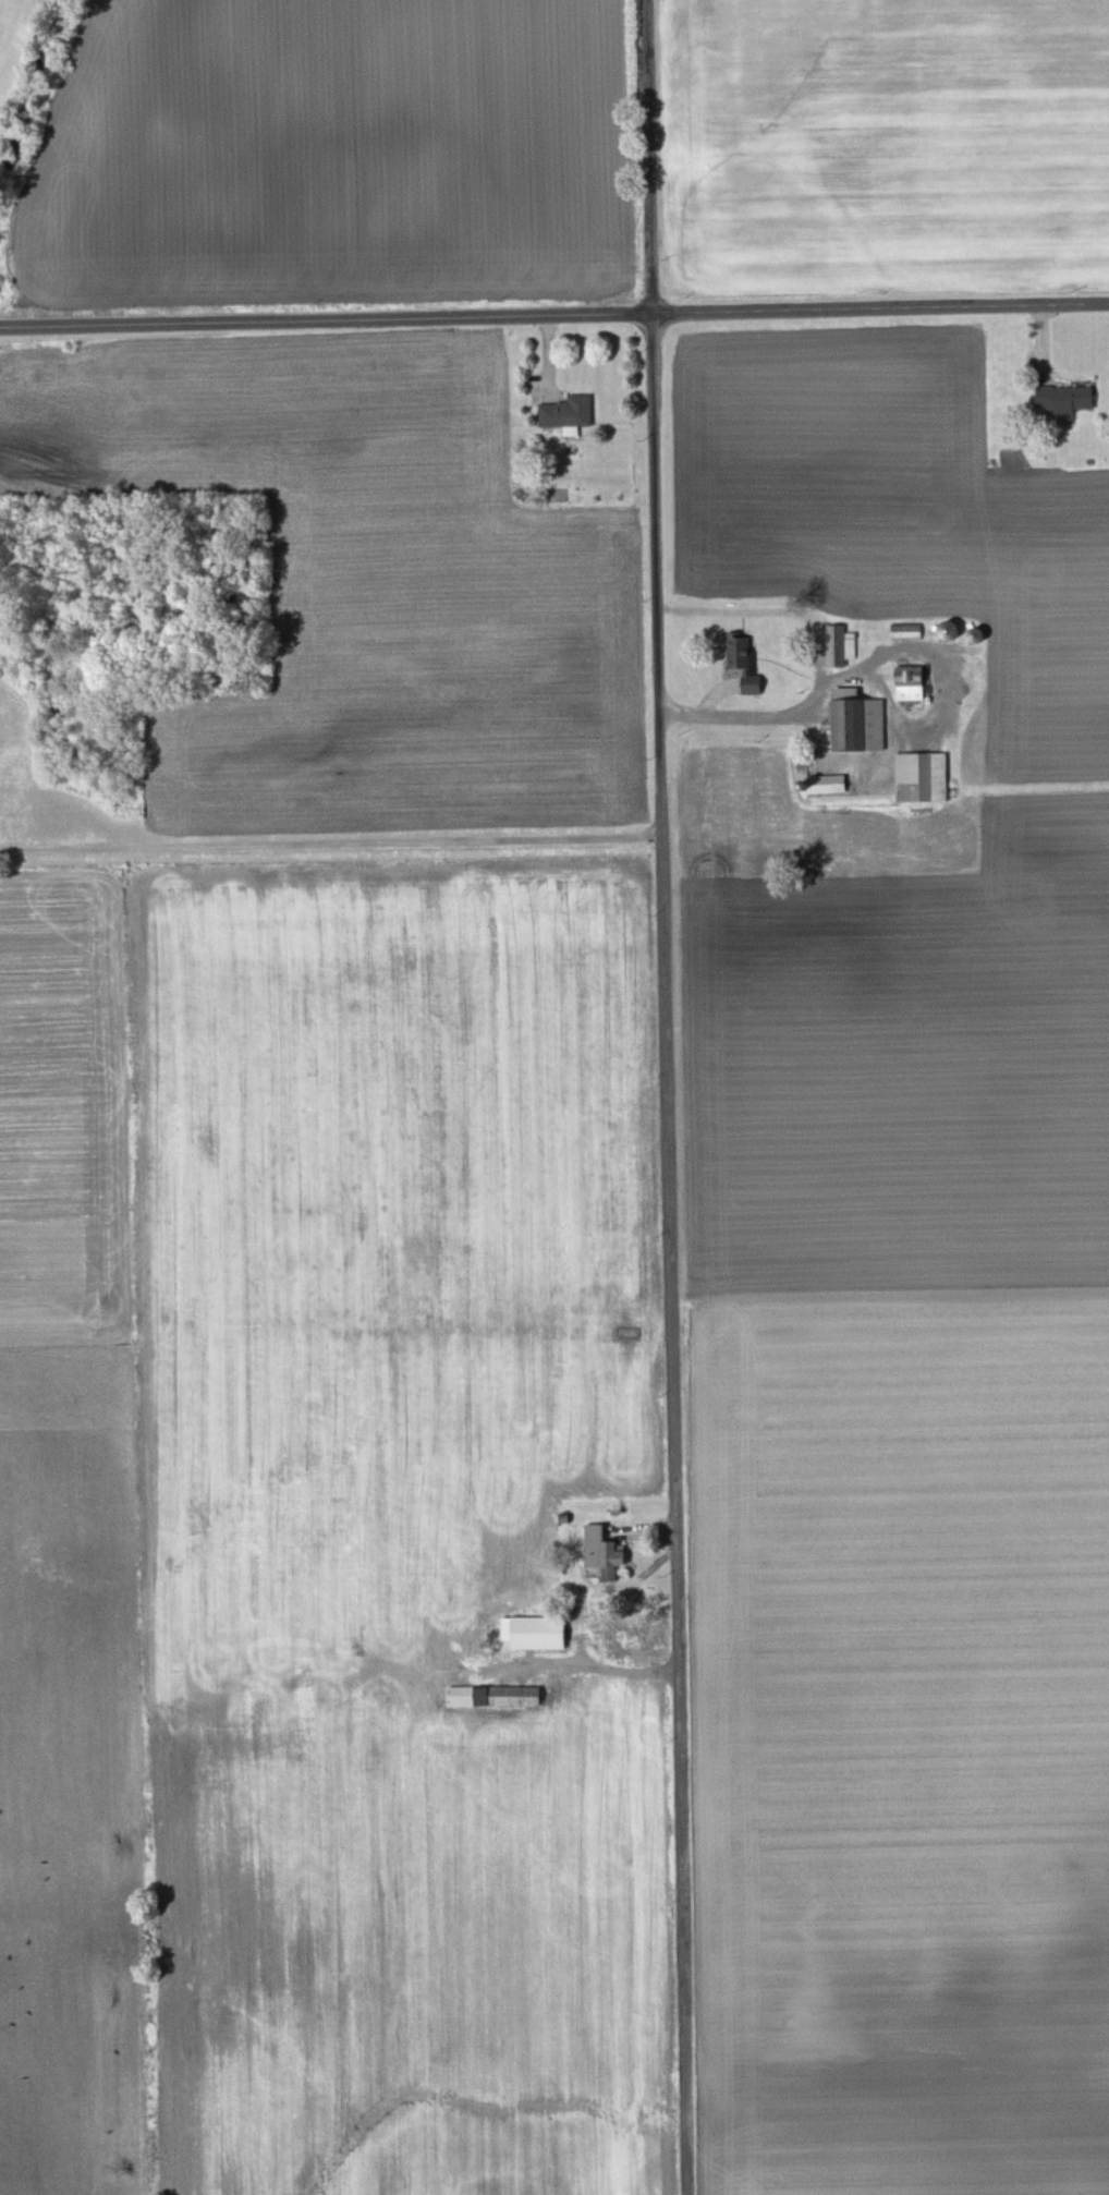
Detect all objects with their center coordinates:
road: (554, 315)
building: (1067, 399)
building: (568, 413)
building: (609, 544)
building: (906, 631)
building: (950, 631)
building: (840, 645)
building: (743, 659)
building: (912, 683)
road: (769, 720)
building: (857, 723)
building: (923, 777)
building: (827, 784)
road: (331, 842)
road: (668, 1097)
building: (604, 1548)
building: (536, 1632)
building: (493, 1696)

